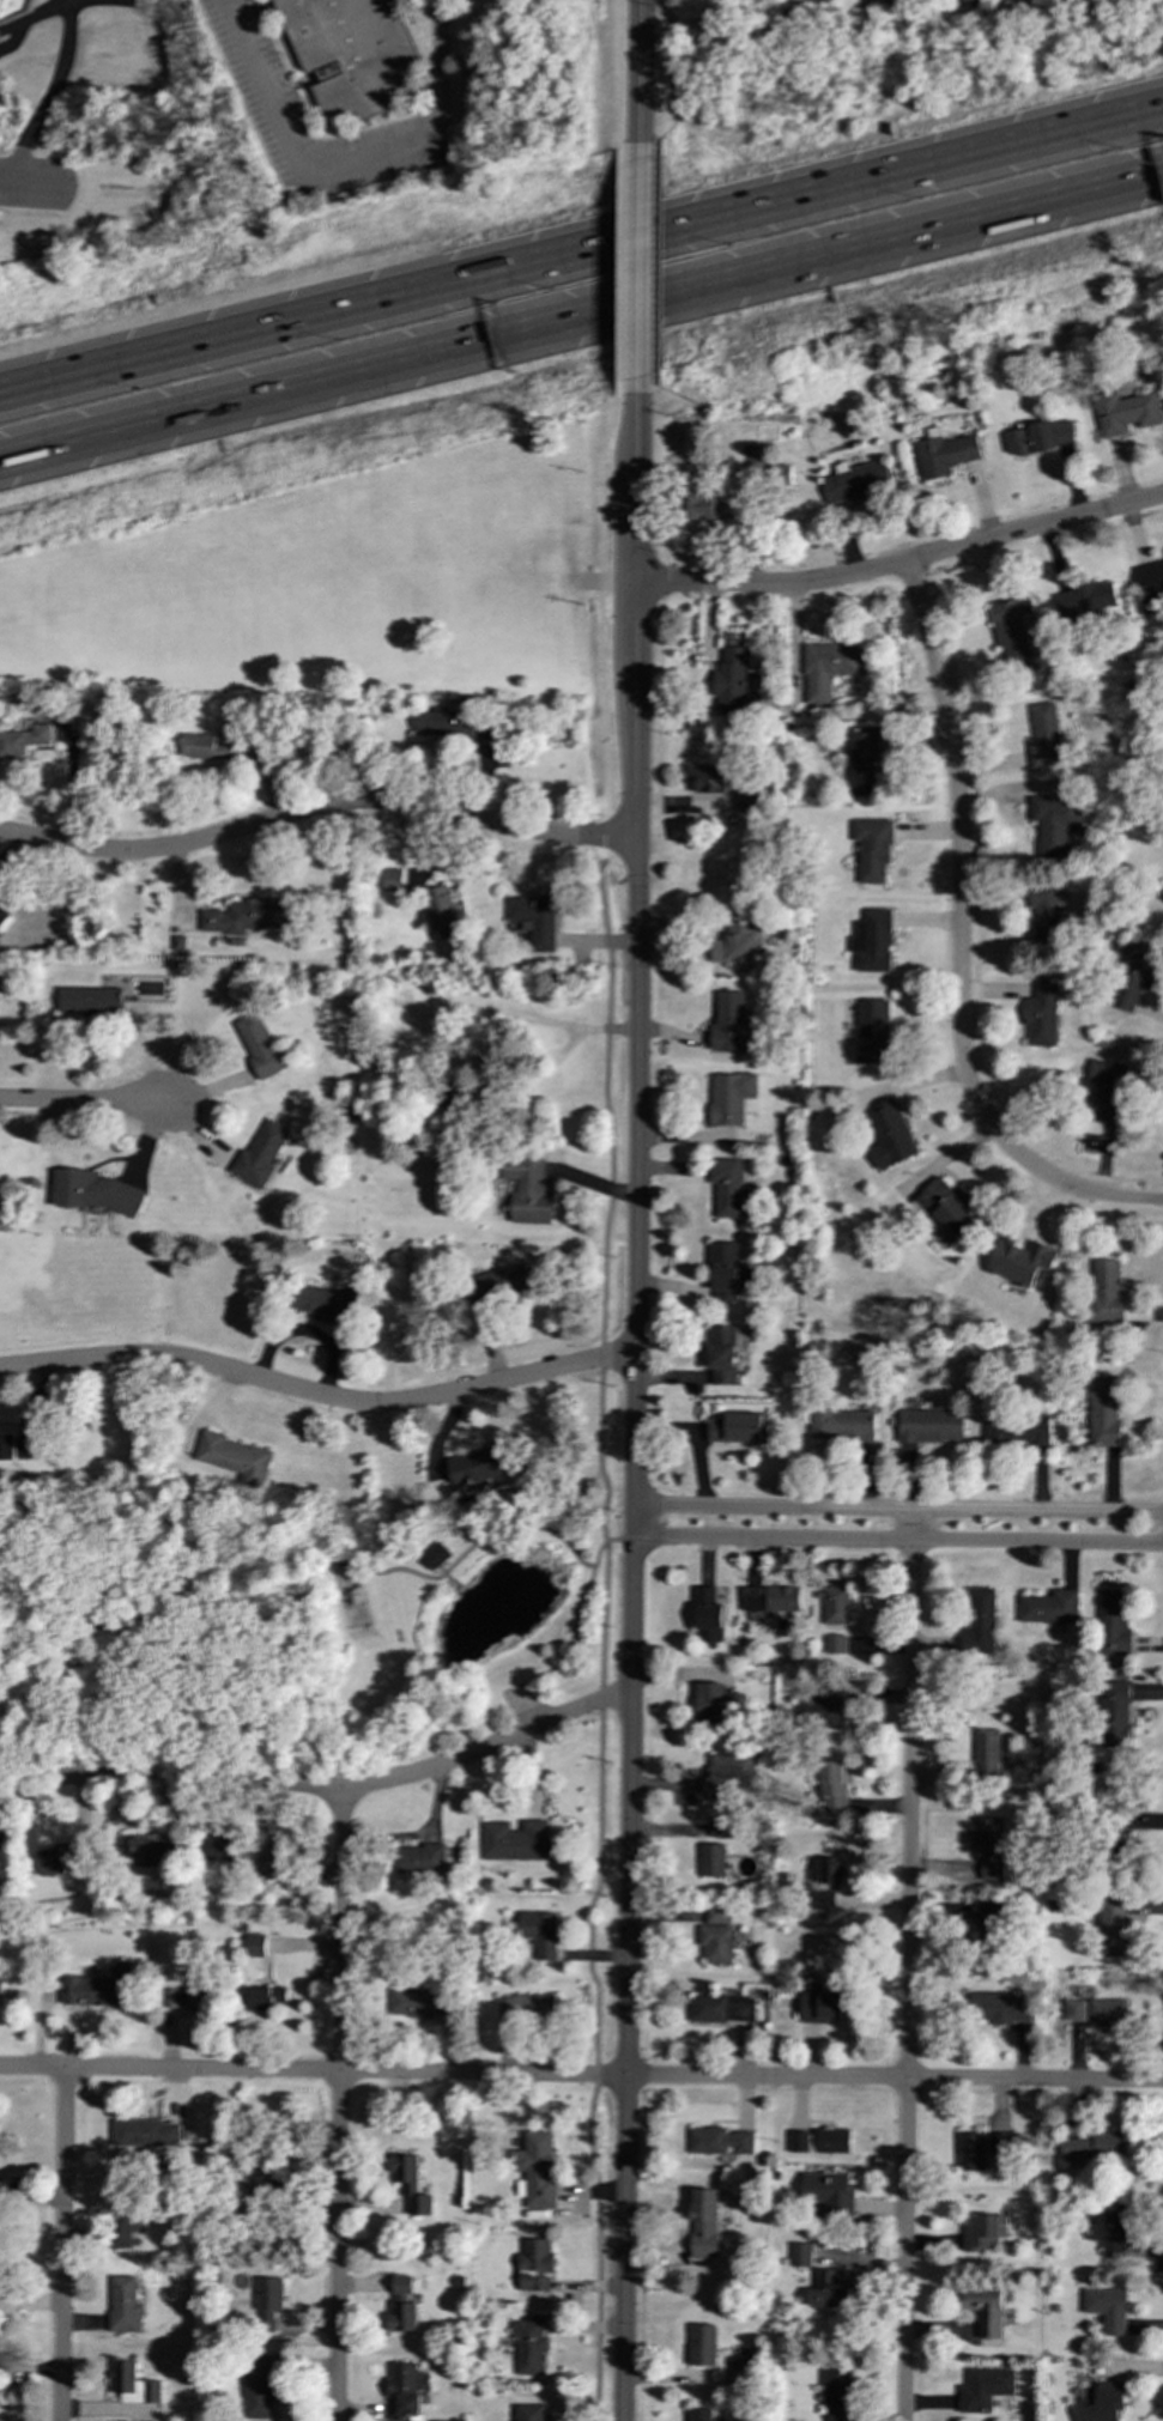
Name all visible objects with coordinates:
building: (969, 4)
building: (12, 8)
building: (352, 51)
road: (614, 71)
road: (640, 71)
road: (661, 71)
road: (50, 96)
road: (345, 160)
road: (581, 247)
road: (619, 267)
road: (638, 267)
road: (655, 268)
road: (581, 316)
building: (1125, 408)
building: (1038, 435)
building: (946, 450)
building: (780, 473)
road: (656, 478)
building: (855, 480)
building: (698, 503)
road: (904, 562)
road: (659, 578)
building: (1151, 583)
building: (1085, 599)
road: (599, 602)
road: (628, 621)
building: (1010, 629)
building: (828, 665)
building: (727, 676)
building: (444, 722)
road: (658, 729)
building: (1044, 733)
building: (23, 741)
building: (202, 747)
building: (860, 758)
building: (705, 775)
building: (746, 795)
road: (317, 808)
building: (1053, 820)
road: (606, 837)
building: (873, 849)
road: (630, 860)
building: (392, 885)
building: (1162, 888)
building: (1162, 897)
building: (1044, 910)
building: (440, 911)
building: (248, 916)
building: (2, 917)
building: (533, 920)
building: (734, 936)
building: (872, 940)
road: (958, 942)
road: (637, 948)
building: (1134, 966)
building: (89, 1001)
building: (1040, 1012)
road: (470, 1013)
building: (728, 1019)
building: (872, 1029)
building: (259, 1045)
road: (539, 1080)
building: (1106, 1084)
building: (732, 1099)
road: (83, 1102)
building: (888, 1133)
building: (259, 1155)
building: (725, 1187)
building: (527, 1190)
building: (95, 1191)
building: (946, 1208)
building: (1018, 1260)
building: (722, 1267)
building: (495, 1290)
building: (1104, 1290)
building: (327, 1304)
building: (720, 1353)
road: (316, 1395)
building: (1103, 1409)
building: (841, 1419)
building: (928, 1422)
building: (1016, 1422)
building: (737, 1427)
building: (16, 1446)
building: (235, 1458)
building: (477, 1470)
road: (896, 1510)
road: (631, 1521)
road: (477, 1541)
road: (896, 1542)
building: (435, 1555)
road: (441, 1570)
road: (449, 1580)
road: (137, 1584)
building: (770, 1600)
building: (835, 1606)
building: (1049, 1608)
building: (707, 1616)
building: (979, 1620)
building: (1113, 1626)
park: (292, 1632)
road: (601, 1639)
road: (568, 1642)
building: (835, 1644)
parking lot: (522, 1700)
building: (710, 1703)
building: (824, 1711)
road: (574, 1712)
building: (1115, 1713)
building: (986, 1754)
building: (727, 1774)
road: (262, 1782)
building: (832, 1786)
building: (720, 1830)
building: (513, 1840)
building: (988, 1846)
building: (150, 1852)
building: (60, 1859)
building: (417, 1861)
building: (711, 1861)
building: (829, 1870)
building: (262, 1871)
building: (0, 1888)
building: (822, 1904)
building: (716, 1915)
building: (987, 1924)
building: (1114, 1925)
building: (539, 1932)
building: (716, 1943)
building: (255, 1944)
road: (907, 1966)
building: (1, 1979)
road: (626, 1979)
building: (98, 1989)
building: (198, 1991)
building: (171, 1998)
building: (265, 1998)
building: (419, 2003)
building: (526, 2007)
building: (820, 2007)
building: (722, 2009)
building: (999, 2009)
building: (1109, 2014)
road: (581, 2076)
road: (339, 2104)
building: (146, 2134)
building: (818, 2141)
building: (719, 2142)
building: (1096, 2148)
building: (971, 2152)
building: (537, 2170)
building: (411, 2185)
building: (829, 2192)
building: (123, 2216)
building: (705, 2228)
building: (1109, 2231)
building: (981, 2234)
road: (62, 2245)
building: (801, 2256)
building: (534, 2267)
building: (832, 2290)
building: (267, 2304)
building: (123, 2306)
building: (402, 2306)
building: (1107, 2310)
building: (985, 2311)
building: (528, 2347)
building: (702, 2347)
building: (739, 2370)
building: (133, 2384)
building: (259, 2387)
building: (986, 2390)
building: (402, 2391)
building: (836, 2393)
building: (1101, 2403)
building: (531, 2413)
building: (698, 2415)

